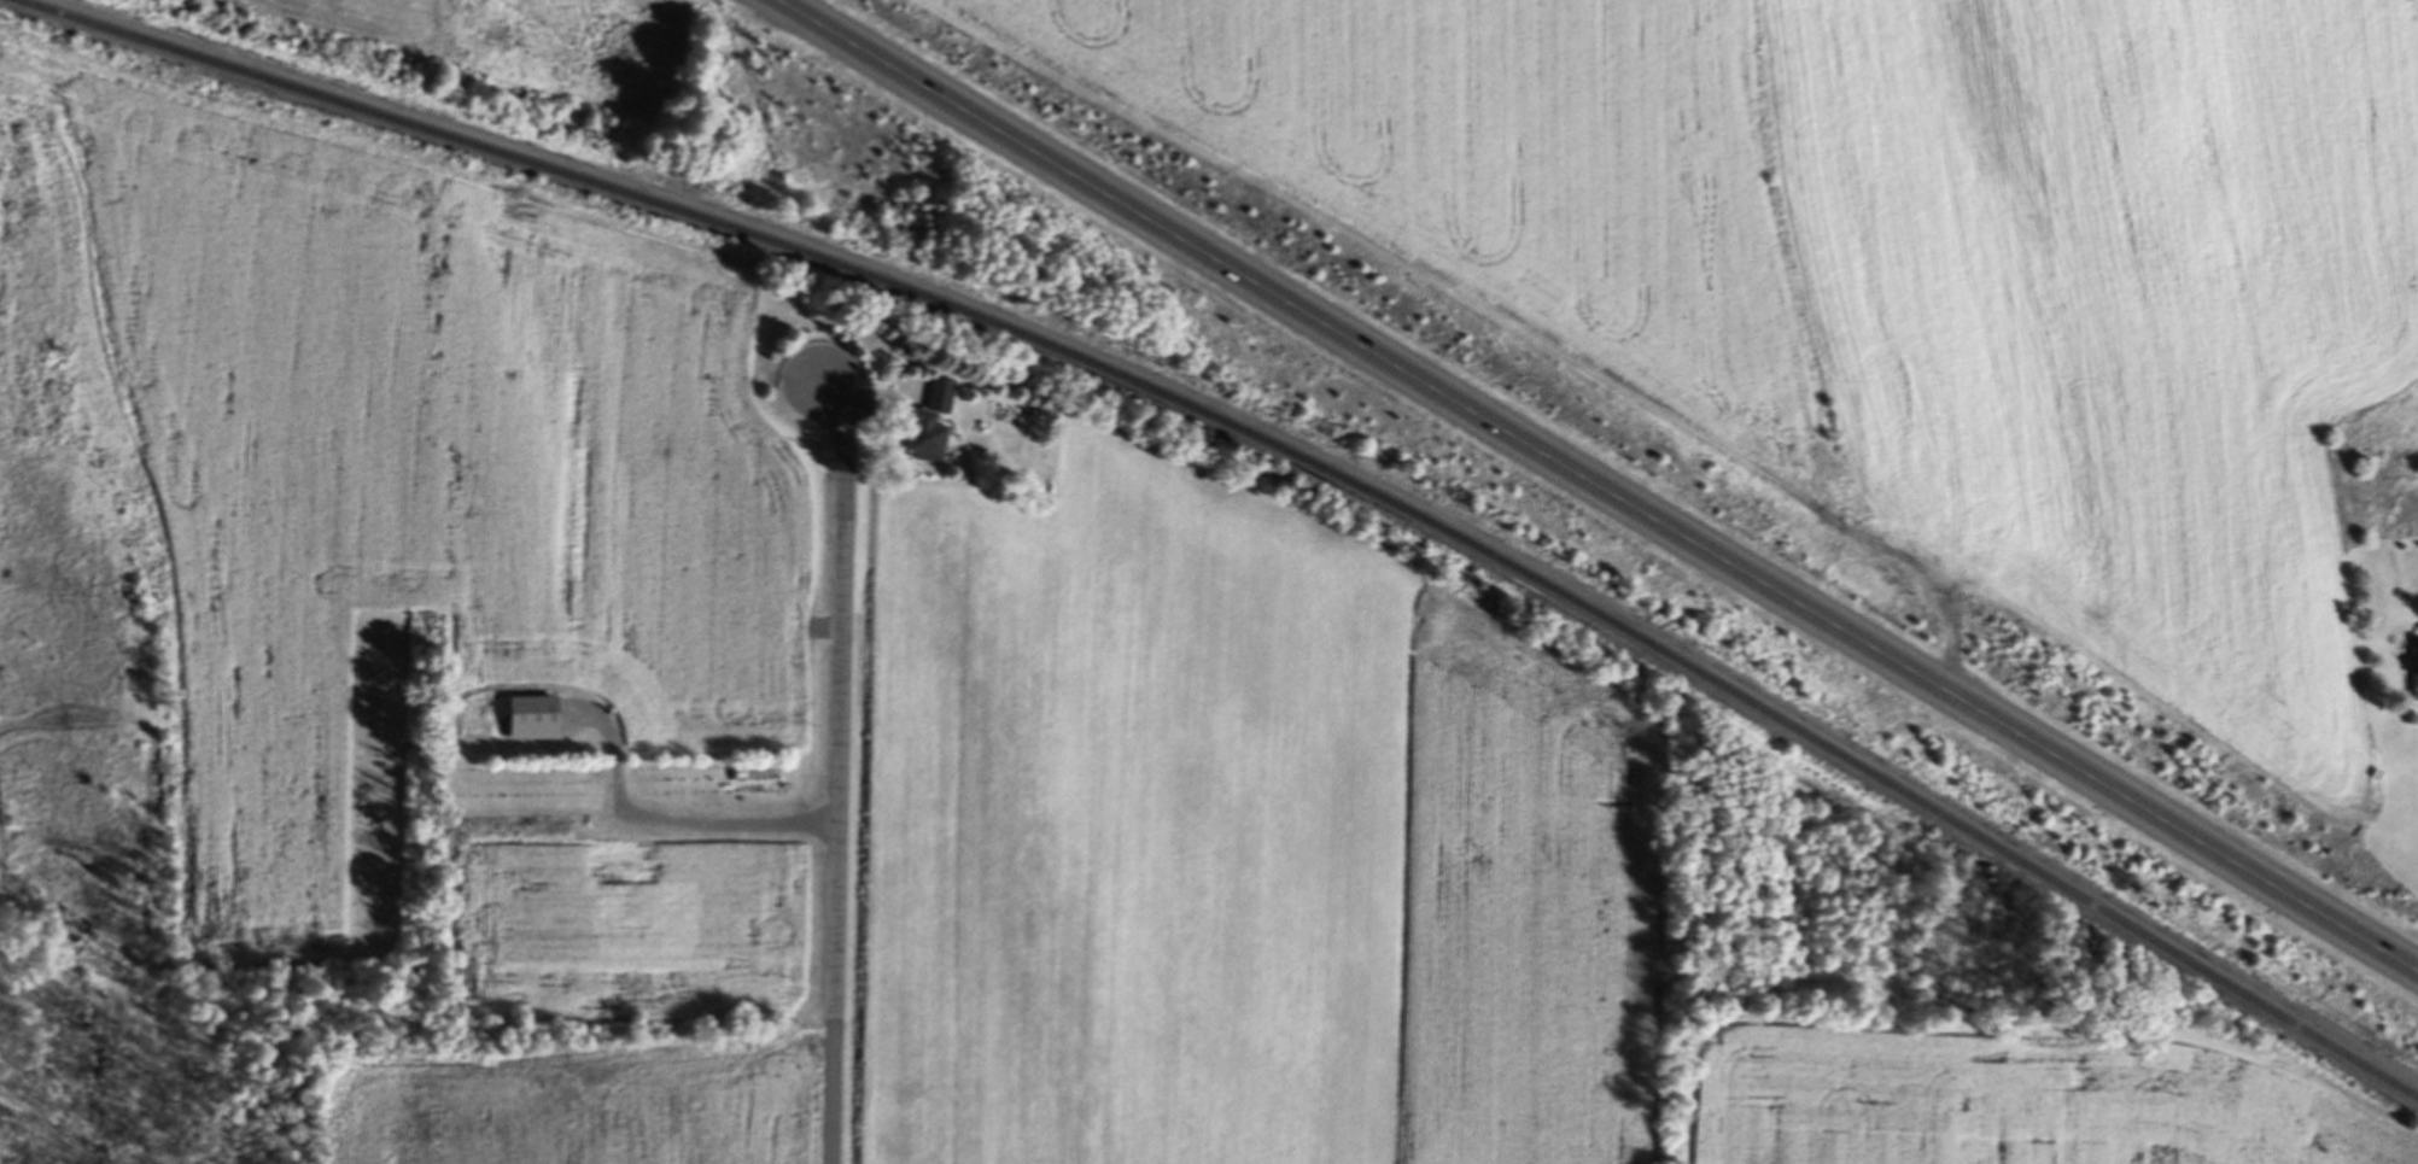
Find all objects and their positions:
building: (931, 427)
railway: (1261, 440)
road: (1595, 486)
building: (2407, 551)
building: (2417, 672)
road: (841, 773)

